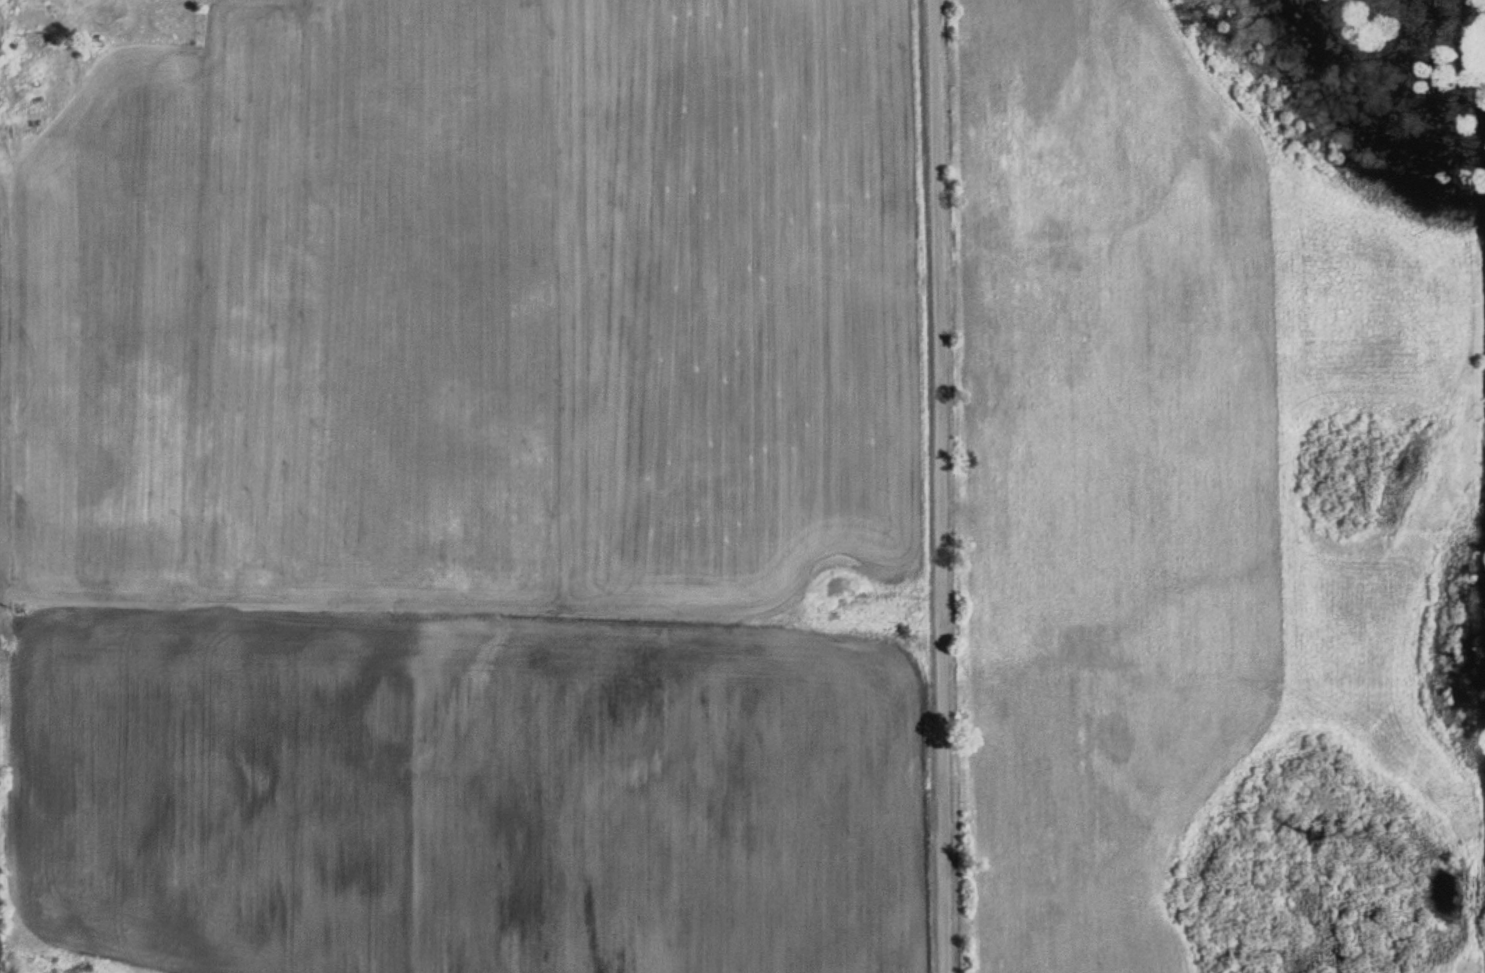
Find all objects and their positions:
road: (940, 486)

